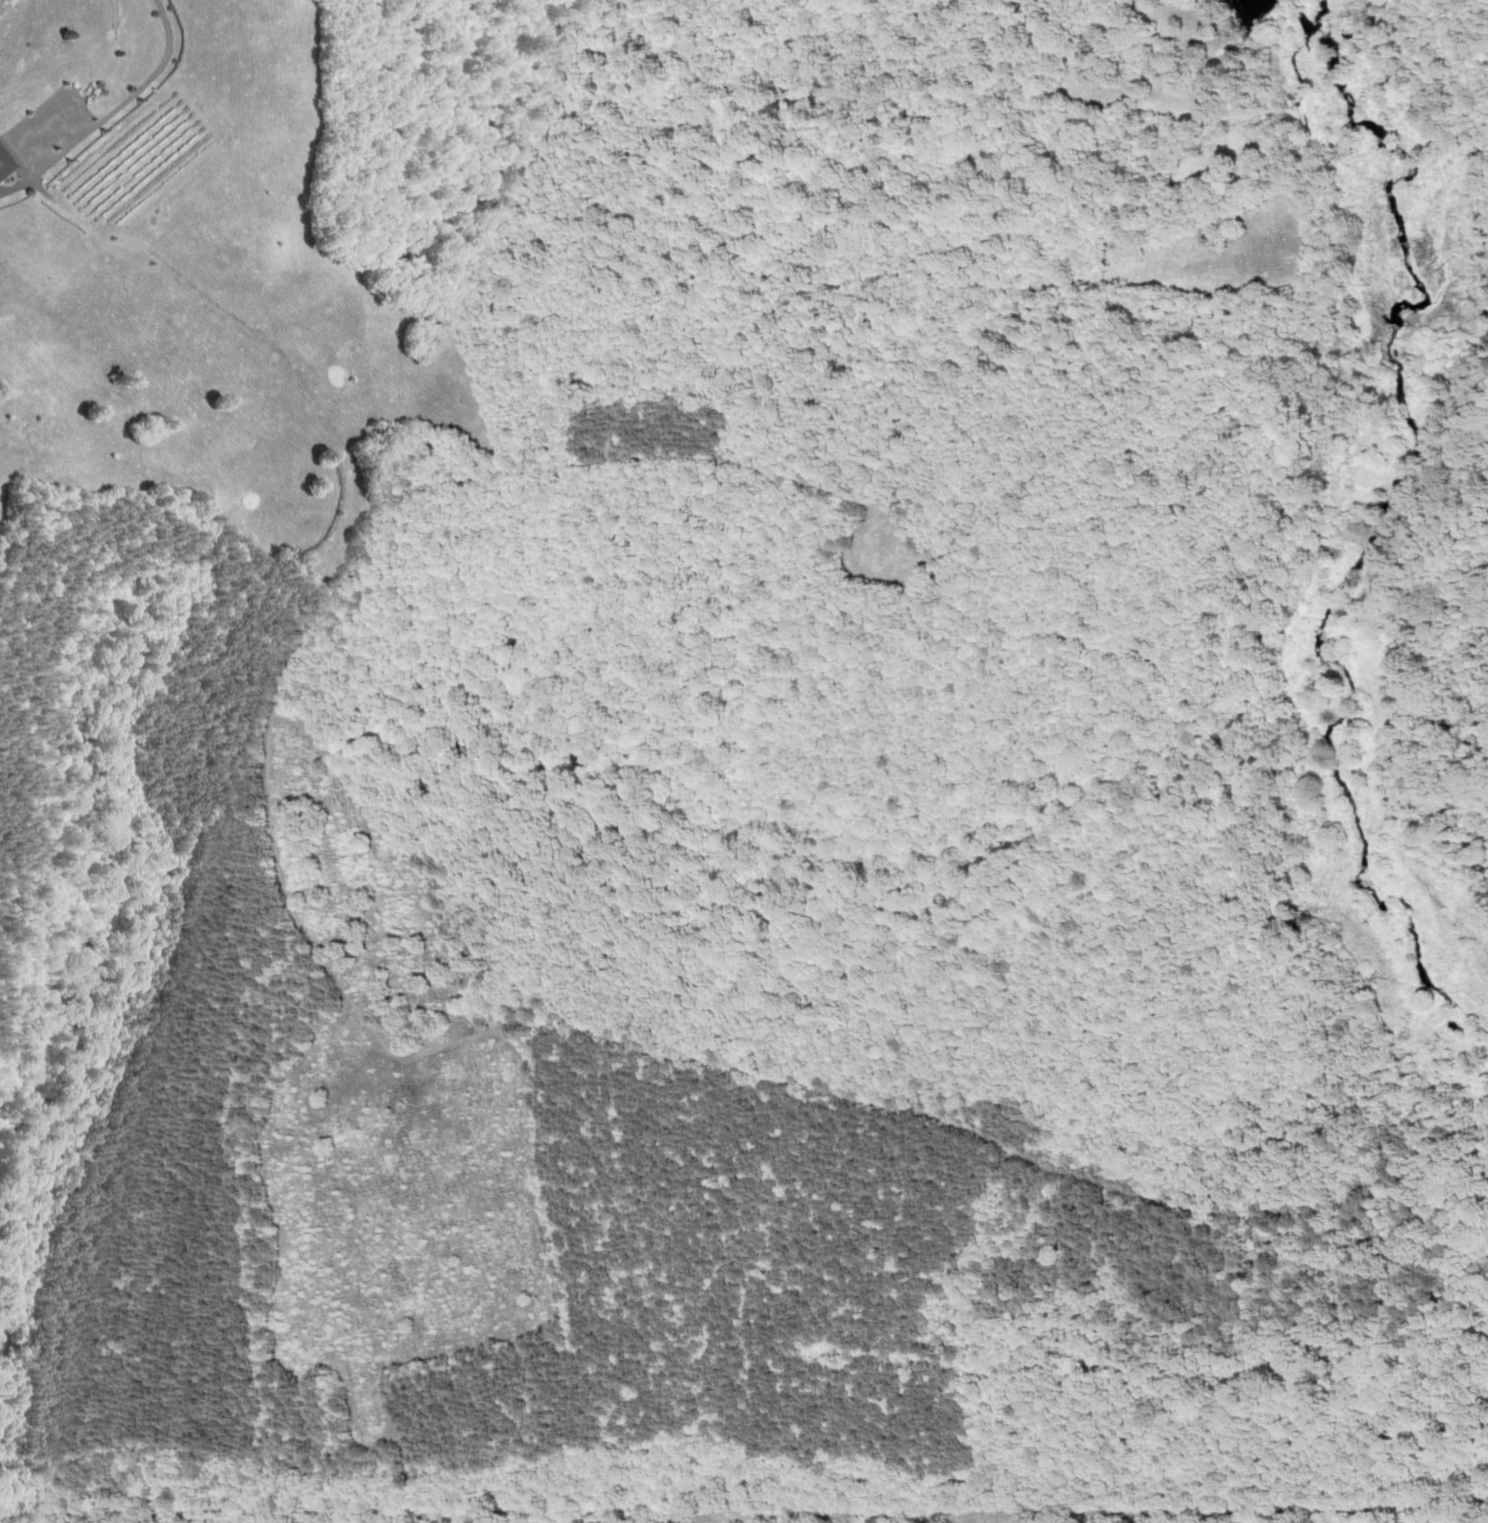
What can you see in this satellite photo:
road: (120, 102)
building: (1, 163)
road: (12, 185)

